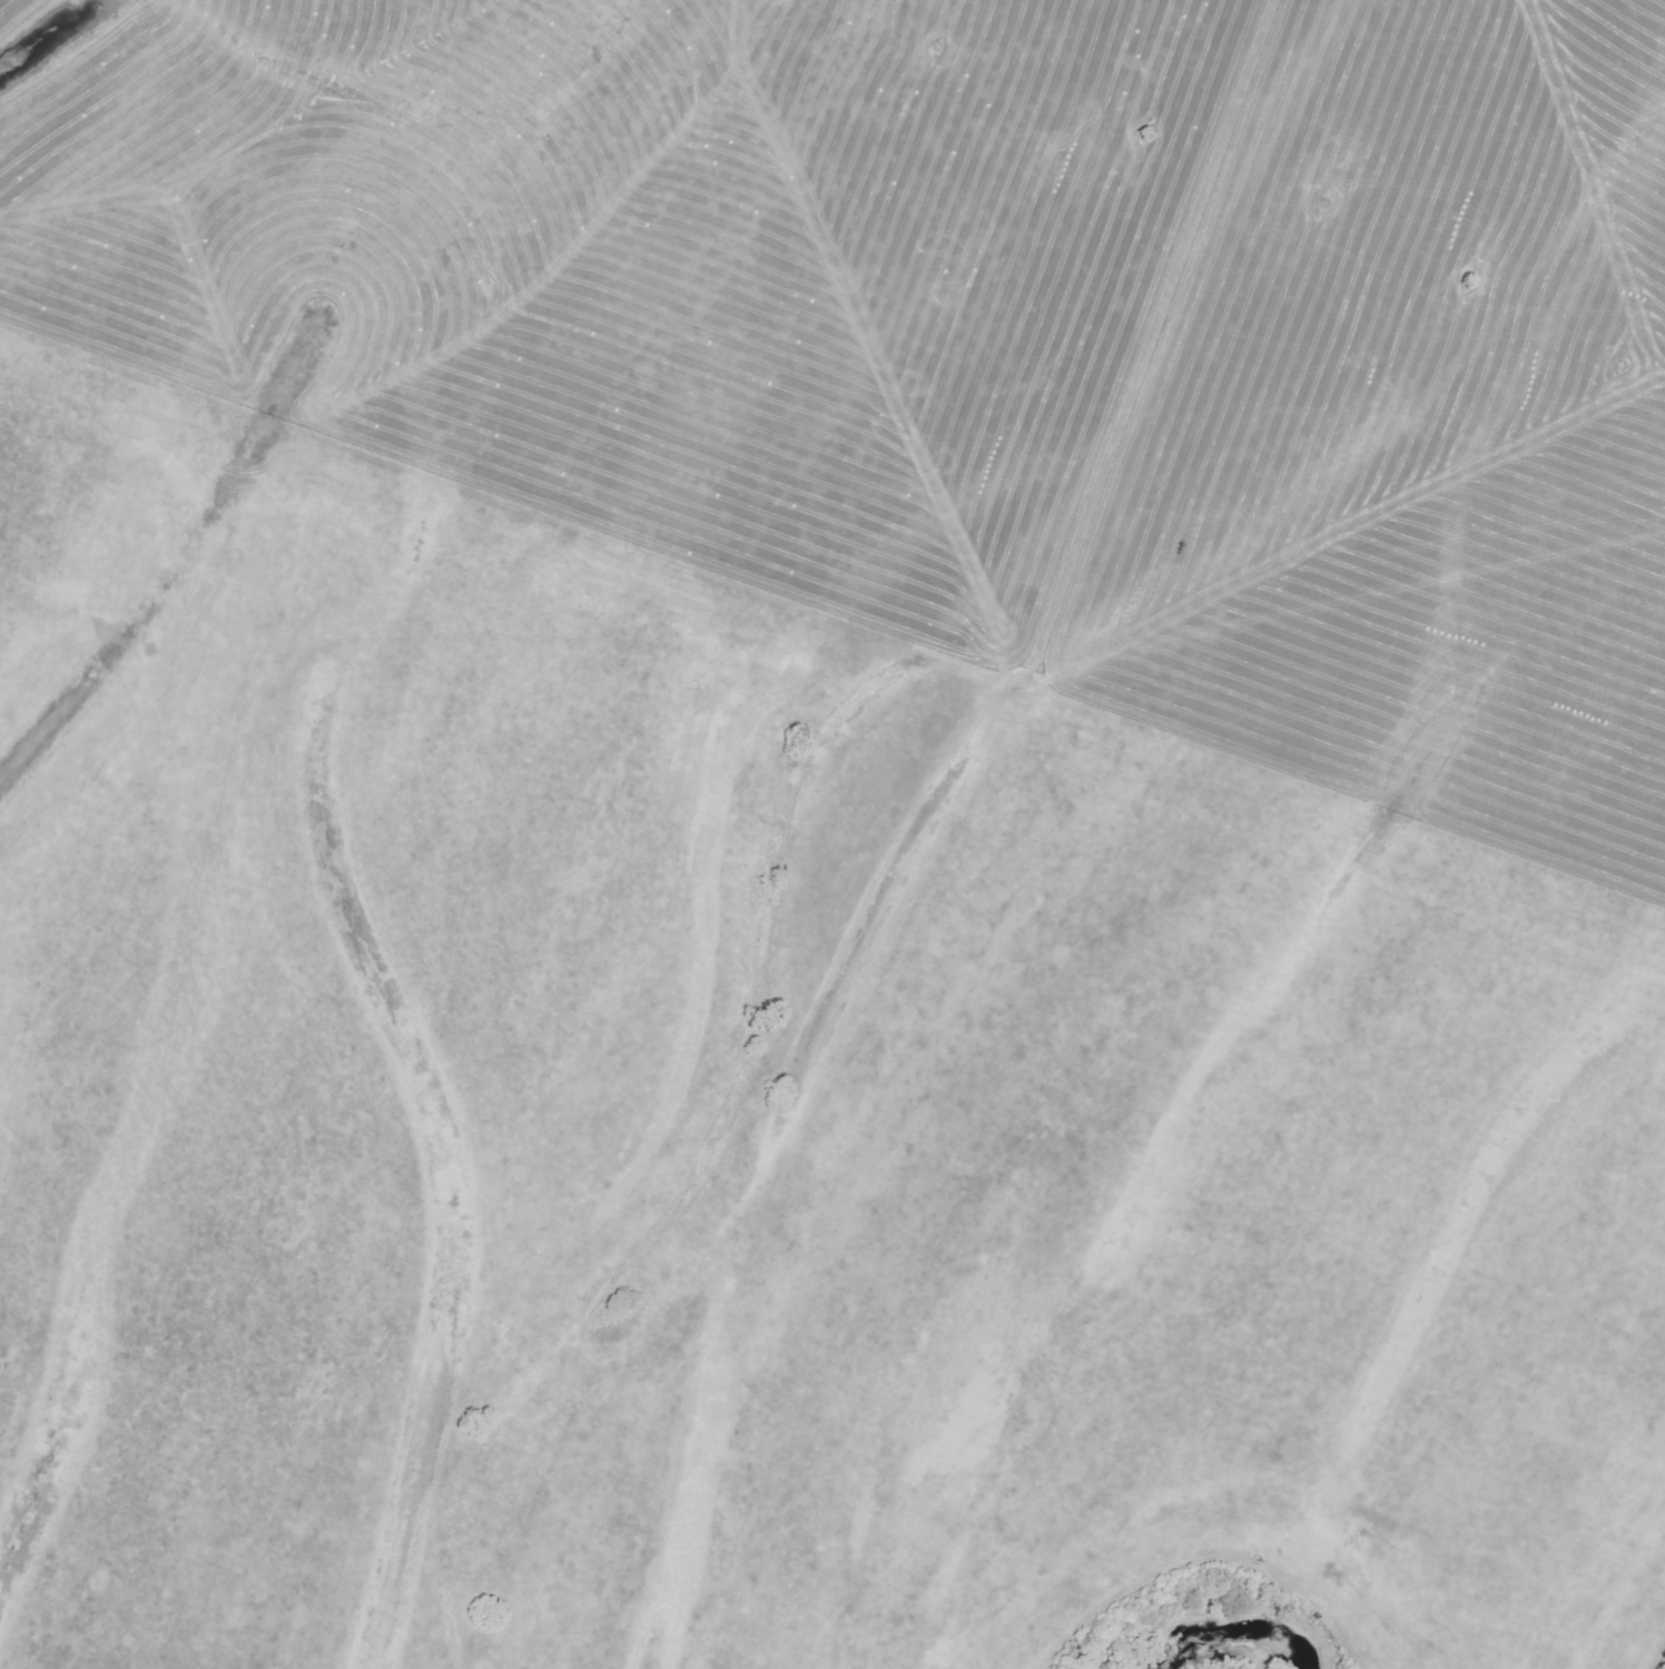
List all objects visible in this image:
river: (1201, 1648)

